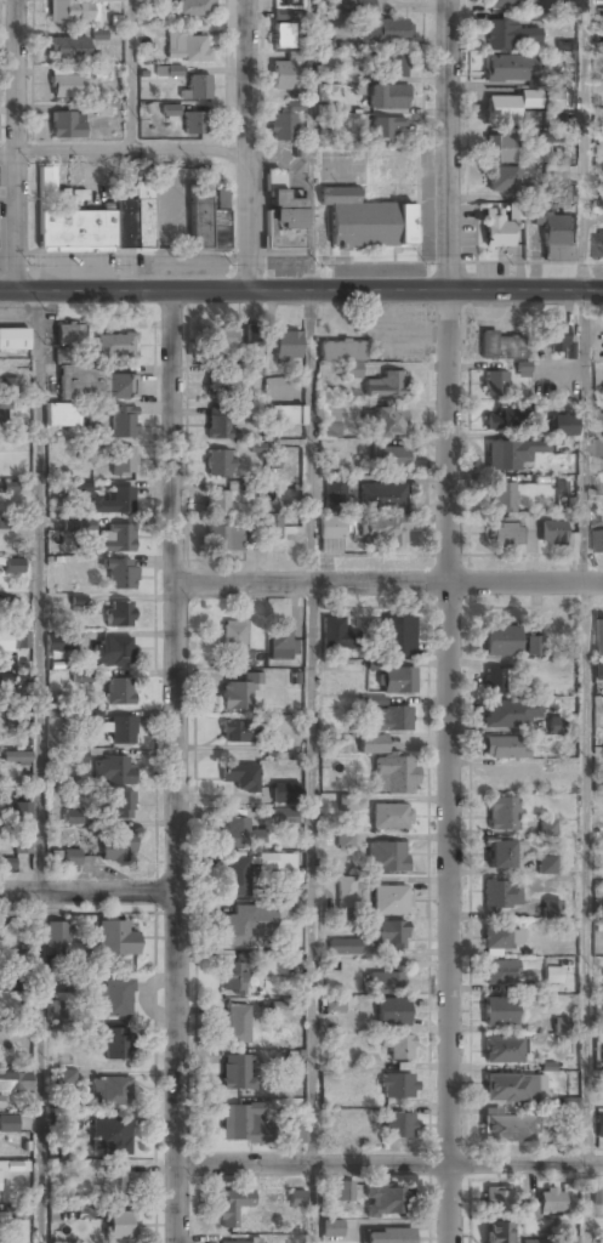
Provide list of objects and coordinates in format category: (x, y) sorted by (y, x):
building: (108, 1)
building: (504, 4)
building: (351, 6)
building: (194, 8)
building: (69, 12)
building: (283, 30)
building: (383, 33)
building: (512, 35)
building: (187, 47)
building: (68, 50)
building: (386, 66)
building: (506, 69)
building: (175, 70)
road: (131, 75)
building: (283, 75)
building: (66, 86)
building: (195, 89)
building: (387, 98)
building: (530, 98)
building: (559, 98)
building: (330, 109)
building: (501, 109)
building: (170, 110)
building: (194, 124)
building: (66, 126)
building: (281, 127)
building: (386, 130)
road: (16, 146)
road: (246, 146)
road: (309, 146)
road: (582, 146)
building: (499, 149)
road: (124, 151)
building: (388, 170)
building: (501, 181)
building: (564, 193)
building: (516, 211)
building: (281, 216)
building: (209, 218)
building: (368, 218)
building: (95, 220)
building: (497, 227)
building: (556, 237)
building: (598, 245)
road: (301, 293)
building: (254, 334)
building: (68, 336)
building: (554, 339)
building: (13, 340)
building: (221, 344)
building: (114, 345)
building: (286, 346)
building: (501, 347)
building: (341, 352)
building: (522, 369)
building: (10, 385)
building: (96, 385)
building: (494, 385)
building: (386, 386)
building: (220, 388)
building: (4, 410)
building: (598, 410)
building: (61, 415)
building: (285, 416)
building: (331, 419)
building: (506, 420)
building: (121, 424)
building: (385, 424)
building: (563, 426)
building: (220, 427)
building: (597, 447)
building: (85, 452)
building: (511, 454)
building: (387, 458)
building: (121, 461)
building: (217, 465)
building: (10, 487)
building: (602, 487)
building: (335, 493)
building: (382, 496)
building: (501, 498)
building: (113, 503)
building: (217, 505)
building: (5, 524)
building: (78, 527)
building: (269, 528)
building: (383, 532)
building: (506, 533)
building: (552, 533)
building: (329, 535)
building: (224, 539)
building: (113, 540)
building: (597, 541)
building: (13, 566)
building: (120, 575)
road: (388, 585)
building: (119, 614)
road: (446, 621)
building: (336, 635)
building: (398, 636)
building: (598, 636)
building: (232, 637)
building: (13, 641)
building: (58, 641)
building: (501, 642)
building: (280, 643)
building: (533, 646)
building: (114, 652)
building: (602, 670)
building: (13, 677)
building: (80, 677)
building: (496, 680)
building: (398, 681)
building: (119, 692)
building: (239, 693)
building: (0, 698)
building: (507, 714)
building: (92, 716)
building: (13, 720)
building: (388, 720)
building: (556, 725)
road: (311, 727)
building: (121, 731)
road: (585, 731)
building: (237, 733)
building: (335, 744)
building: (372, 745)
building: (505, 748)
building: (76, 756)
building: (17, 759)
road: (39, 767)
road: (172, 767)
building: (113, 772)
building: (392, 776)
building: (239, 778)
building: (602, 778)
building: (285, 793)
building: (346, 802)
building: (119, 806)
building: (23, 811)
building: (501, 815)
building: (283, 816)
building: (72, 817)
building: (389, 817)
building: (546, 829)
building: (237, 834)
building: (22, 841)
building: (345, 841)
building: (118, 847)
building: (499, 856)
building: (70, 857)
building: (387, 858)
building: (55, 859)
building: (275, 861)
building: (546, 864)
building: (235, 878)
road: (85, 892)
building: (345, 893)
building: (501, 896)
building: (389, 902)
building: (551, 909)
building: (246, 925)
building: (387, 933)
building: (52, 936)
building: (115, 937)
building: (500, 940)
building: (343, 947)
building: (499, 974)
building: (552, 975)
building: (232, 980)
building: (385, 981)
building: (115, 997)
building: (335, 1004)
building: (53, 1011)
building: (499, 1012)
building: (392, 1014)
building: (235, 1025)
building: (561, 1025)
building: (114, 1044)
building: (397, 1048)
building: (502, 1049)
building: (235, 1073)
building: (67, 1075)
building: (15, 1083)
building: (397, 1086)
building: (507, 1088)
building: (110, 1091)
building: (0, 1101)
building: (569, 1105)
building: (239, 1123)
building: (8, 1124)
building: (398, 1126)
building: (599, 1126)
building: (62, 1128)
building: (507, 1129)
building: (292, 1133)
building: (110, 1136)
road: (381, 1164)
building: (12, 1167)
road: (595, 1169)
building: (115, 1182)
building: (345, 1192)
building: (295, 1198)
building: (497, 1199)
building: (382, 1202)
building: (550, 1202)
building: (232, 1208)
building: (529, 1210)
building: (85, 1211)
building: (13, 1213)
building: (119, 1225)
building: (331, 1230)
building: (497, 1233)
building: (388, 1237)
building: (535, 1241)
building: (234, 1242)

